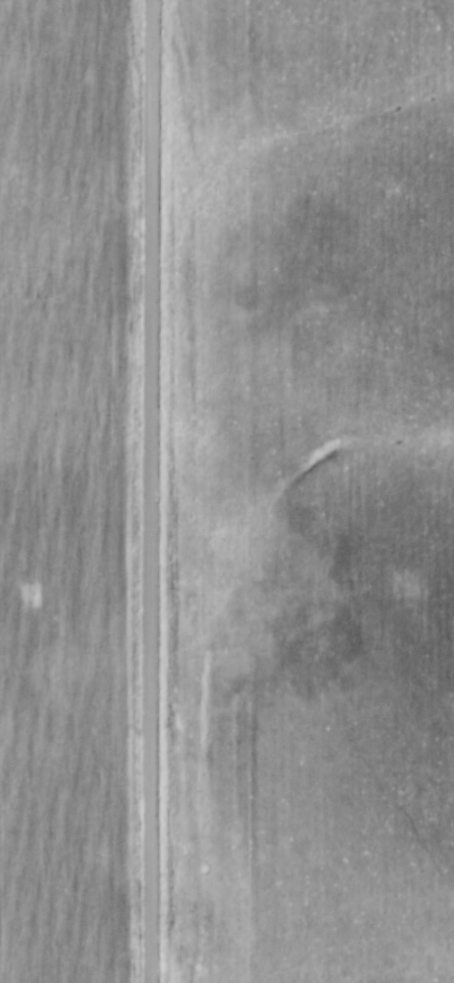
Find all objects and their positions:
road: (147, 491)

